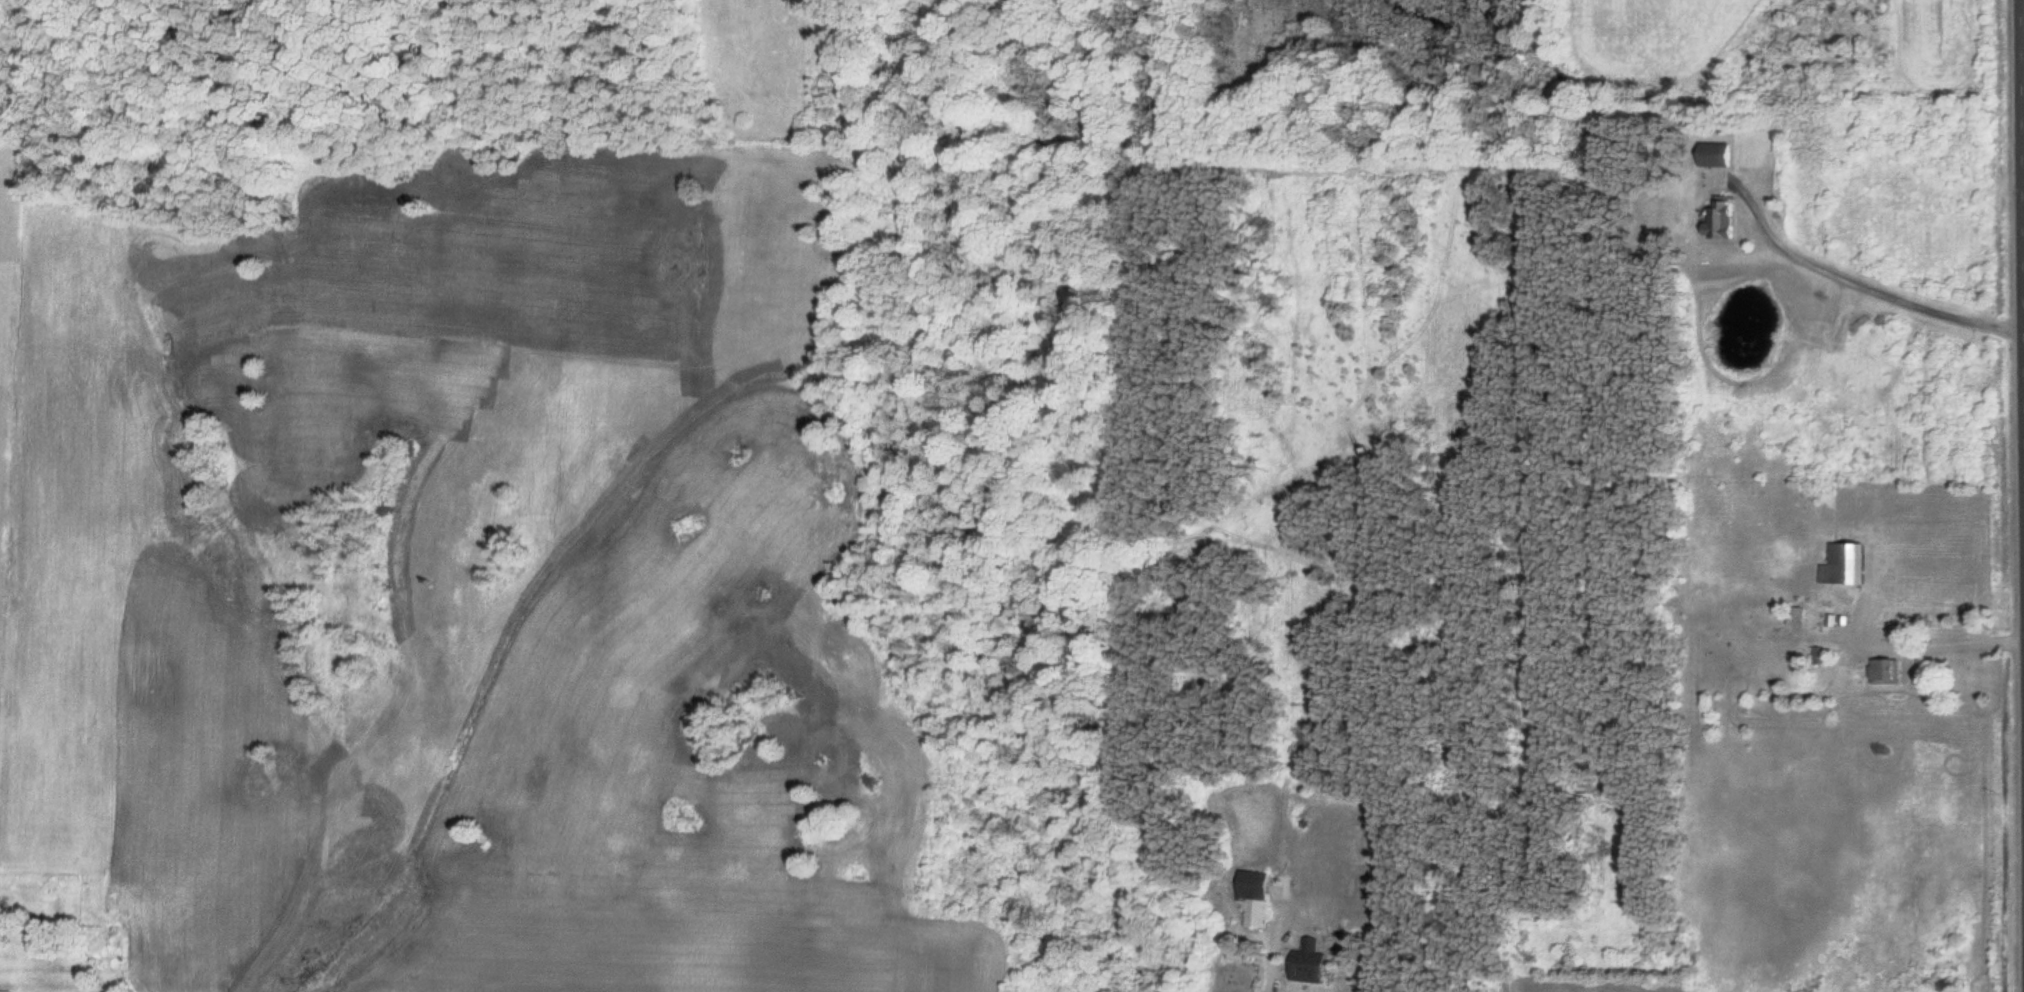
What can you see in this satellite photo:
building: (1723, 155)
building: (1728, 219)
road: (2015, 392)
building: (1850, 565)
building: (1891, 672)
building: (1262, 897)
building: (1313, 967)

